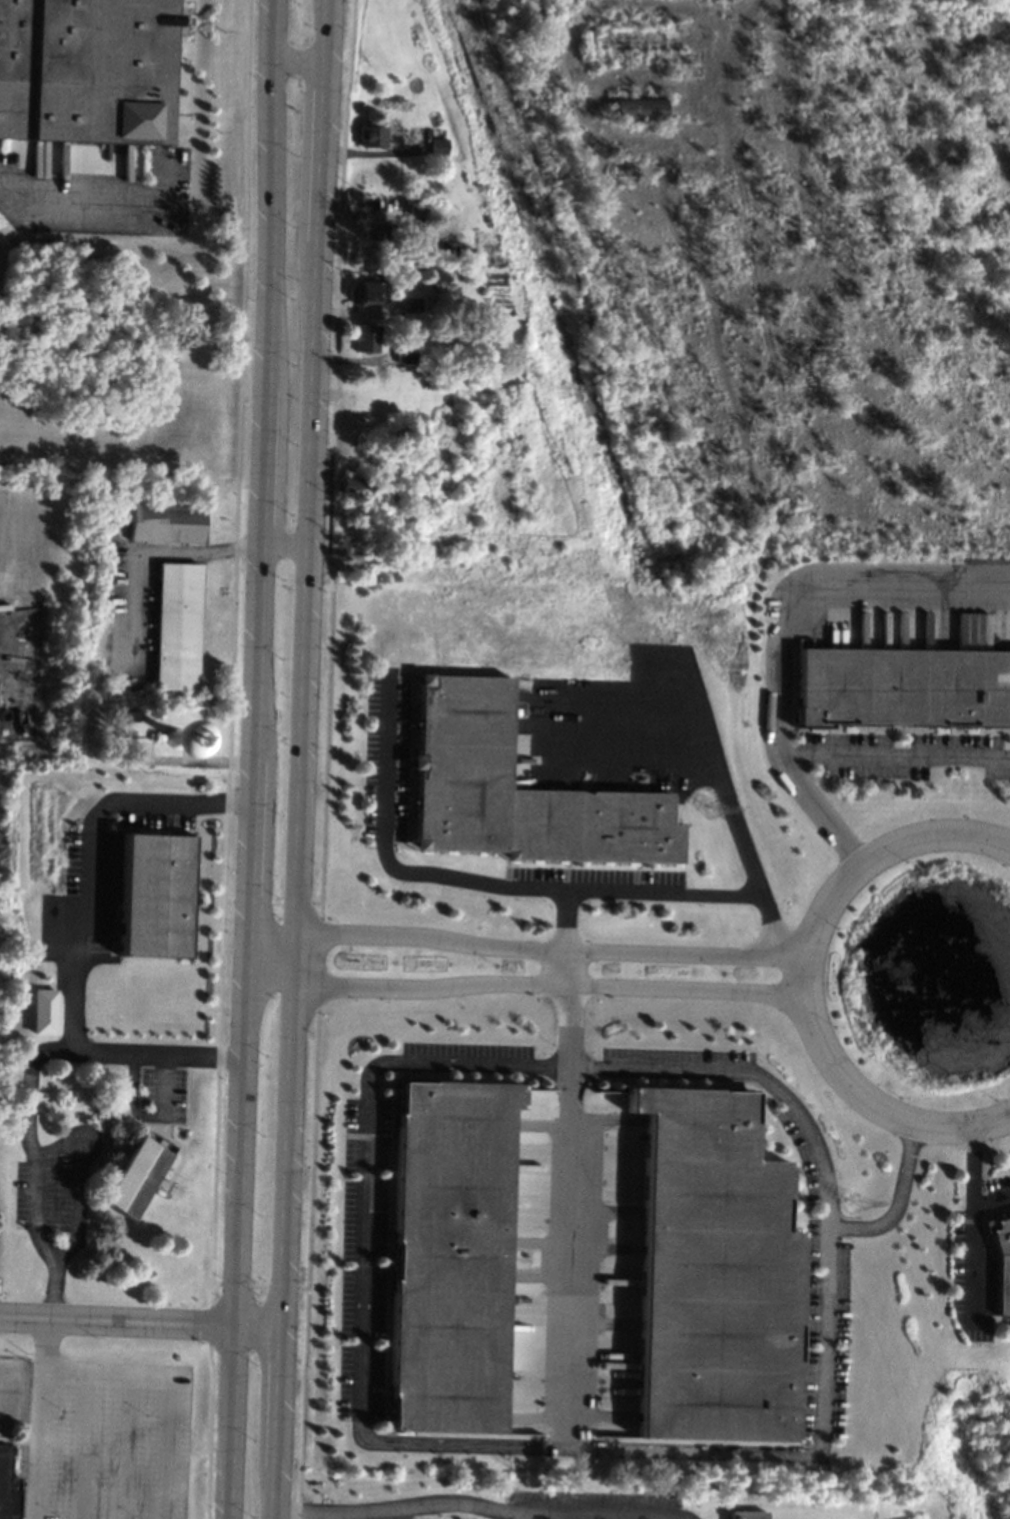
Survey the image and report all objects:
road: (737, 29)
road: (326, 31)
road: (301, 62)
building: (87, 69)
building: (638, 107)
building: (372, 135)
building: (438, 145)
road: (322, 152)
road: (67, 205)
building: (415, 214)
building: (373, 231)
building: (398, 242)
building: (414, 248)
building: (456, 275)
park: (565, 277)
building: (366, 290)
building: (410, 304)
building: (364, 336)
building: (403, 353)
power tower: (558, 389)
building: (351, 484)
building: (164, 522)
road: (285, 546)
road: (147, 556)
road: (820, 588)
building: (176, 625)
road: (13, 647)
building: (902, 688)
road: (616, 704)
water tower: (175, 738)
road: (826, 758)
road: (254, 759)
road: (300, 784)
building: (514, 790)
power tower: (709, 809)
road: (750, 872)
road: (410, 873)
building: (155, 895)
road: (767, 926)
road: (82, 935)
road: (523, 948)
road: (564, 967)
road: (803, 981)
road: (520, 983)
building: (42, 1011)
road: (570, 1026)
road: (31, 1169)
building: (134, 1174)
road: (972, 1179)
road: (74, 1188)
road: (364, 1235)
building: (450, 1255)
road: (571, 1257)
road: (973, 1257)
building: (1002, 1264)
building: (712, 1273)
road: (140, 1321)
road: (169, 1383)
road: (278, 1397)
road: (42, 1418)
building: (8, 1486)
road: (275, 1493)
road: (474, 1504)
parking lot: (585, 1504)
road: (400, 1513)
building: (746, 1514)
road: (537, 1516)
road: (682, 1516)
road: (675, 1517)

